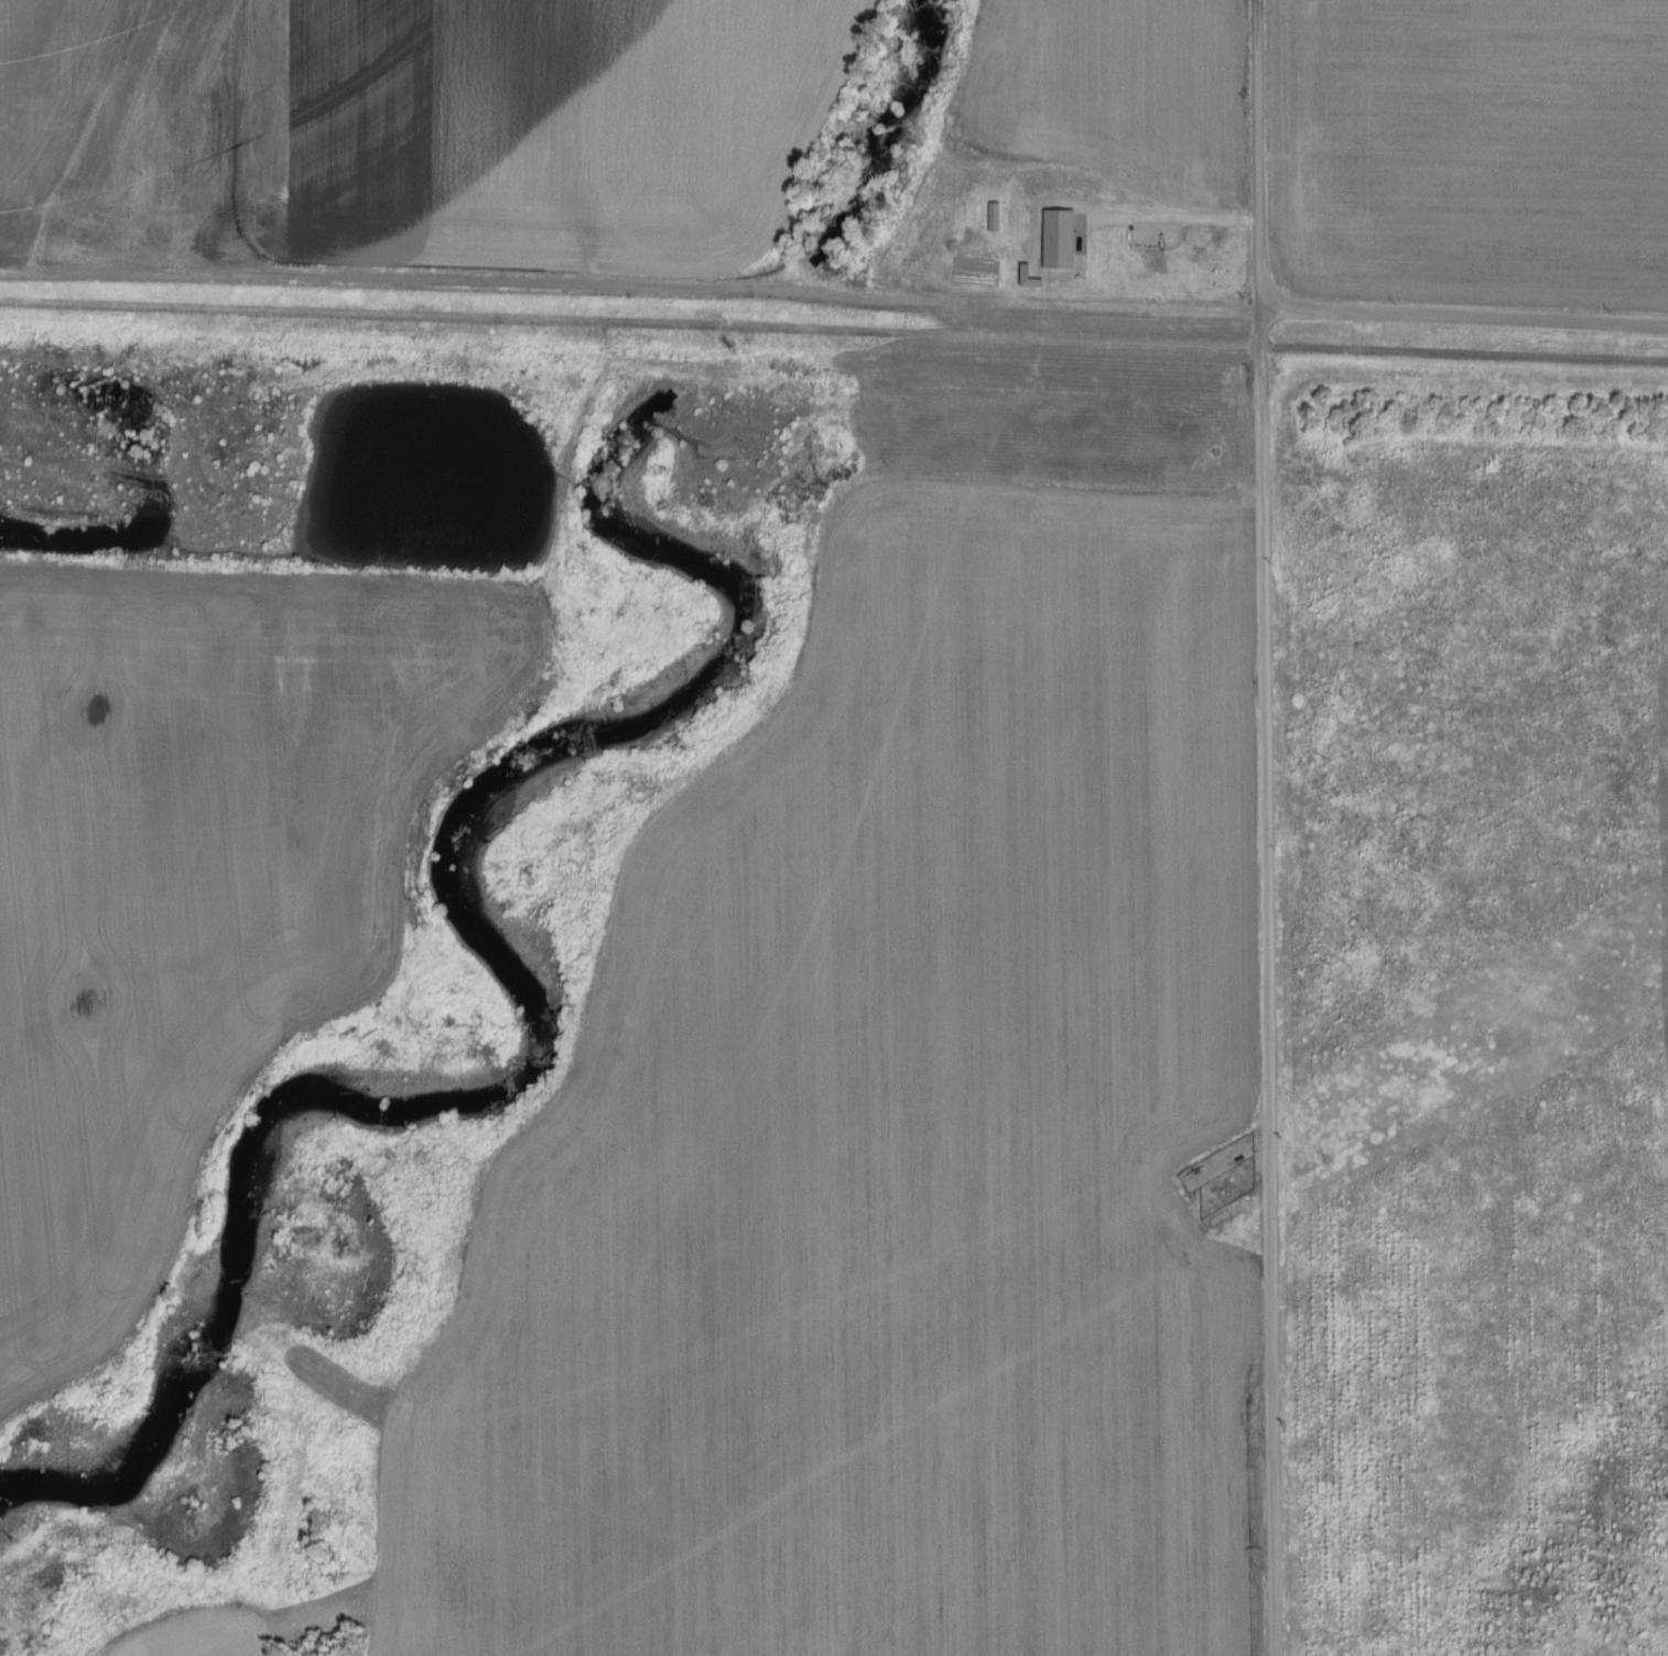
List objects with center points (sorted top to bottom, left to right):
road: (1173, 220)
road: (1462, 317)
road: (1268, 827)
road: (626, 865)

